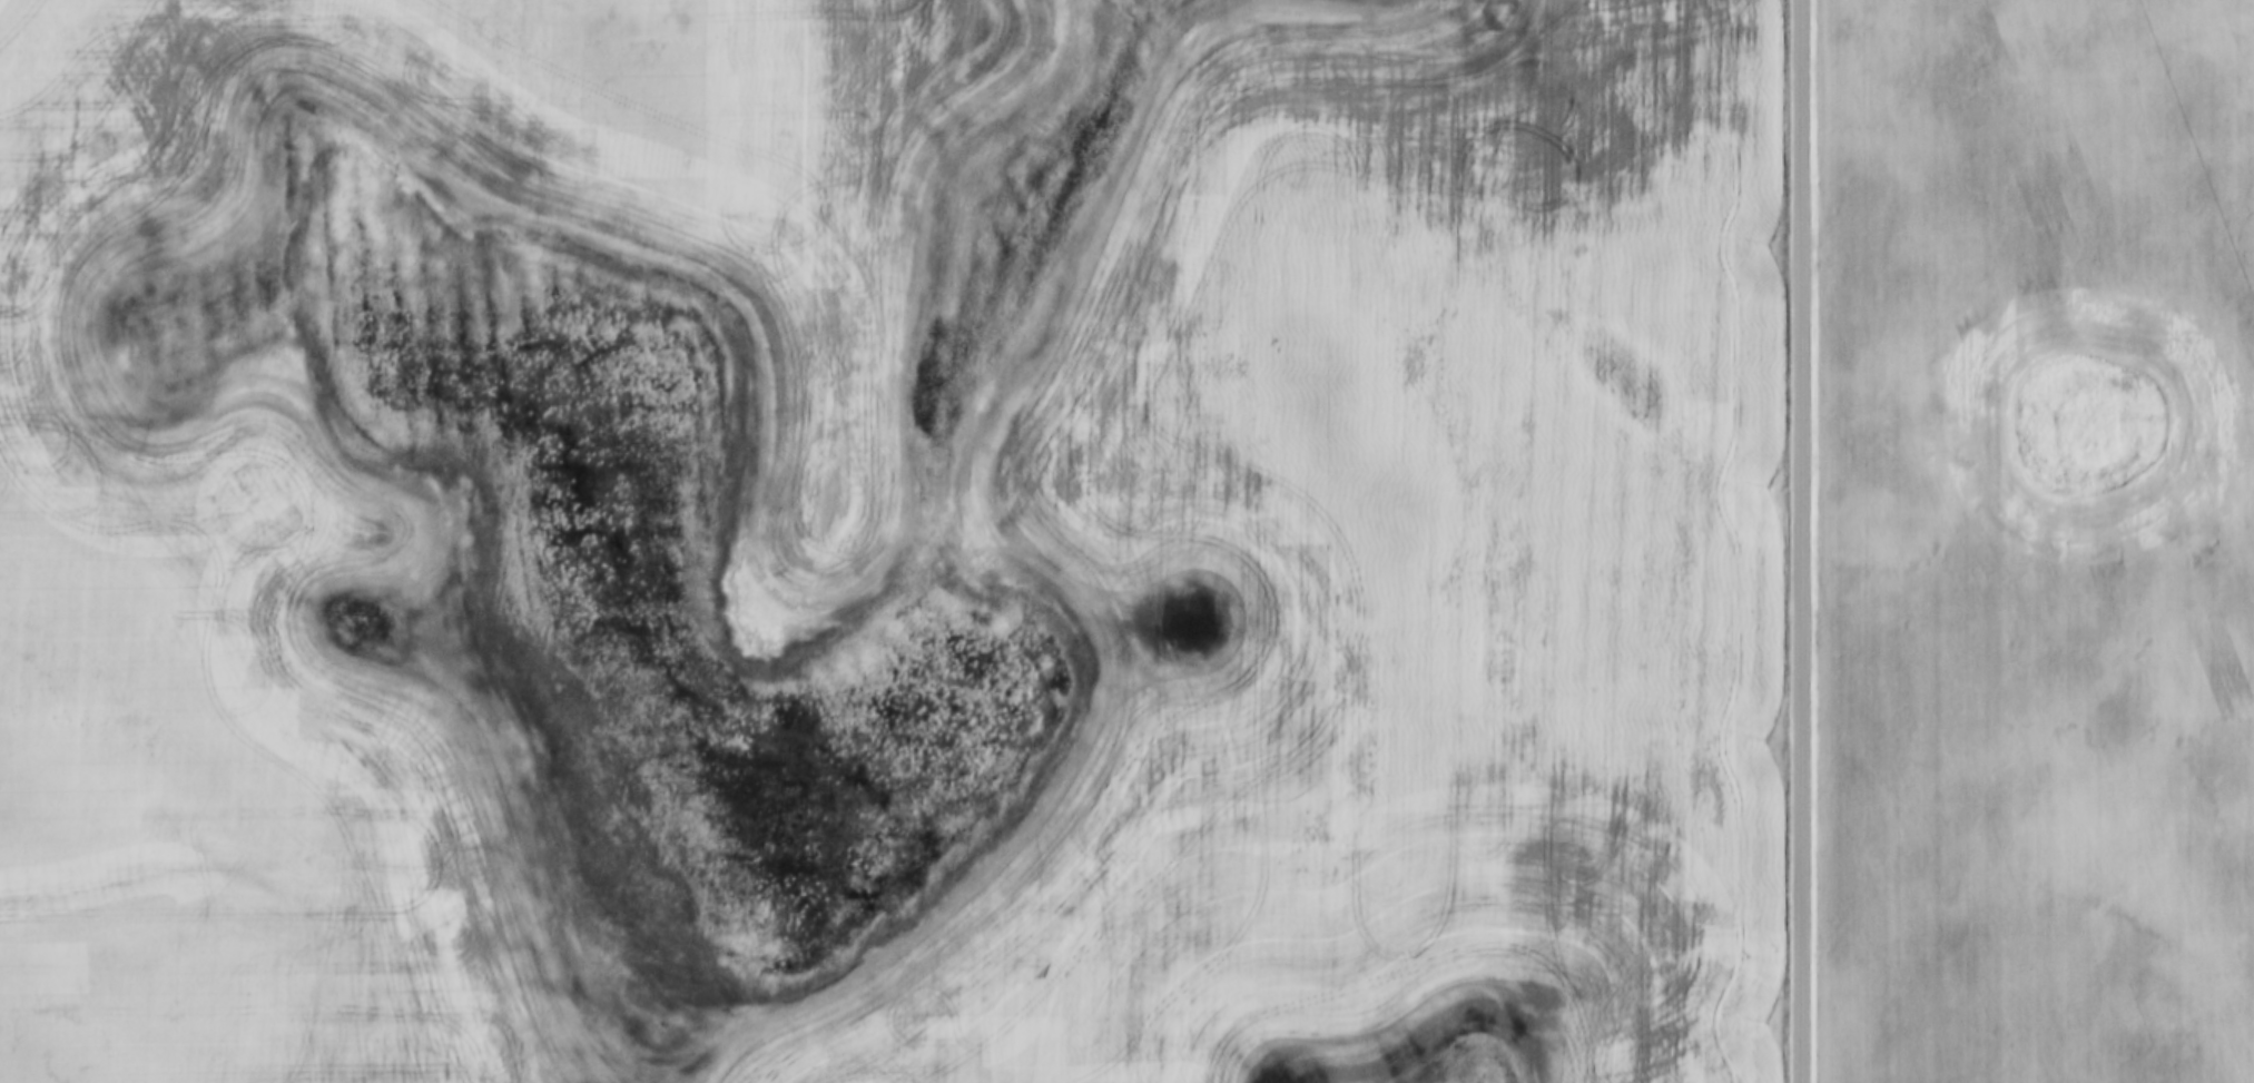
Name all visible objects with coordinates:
road: (1801, 541)

